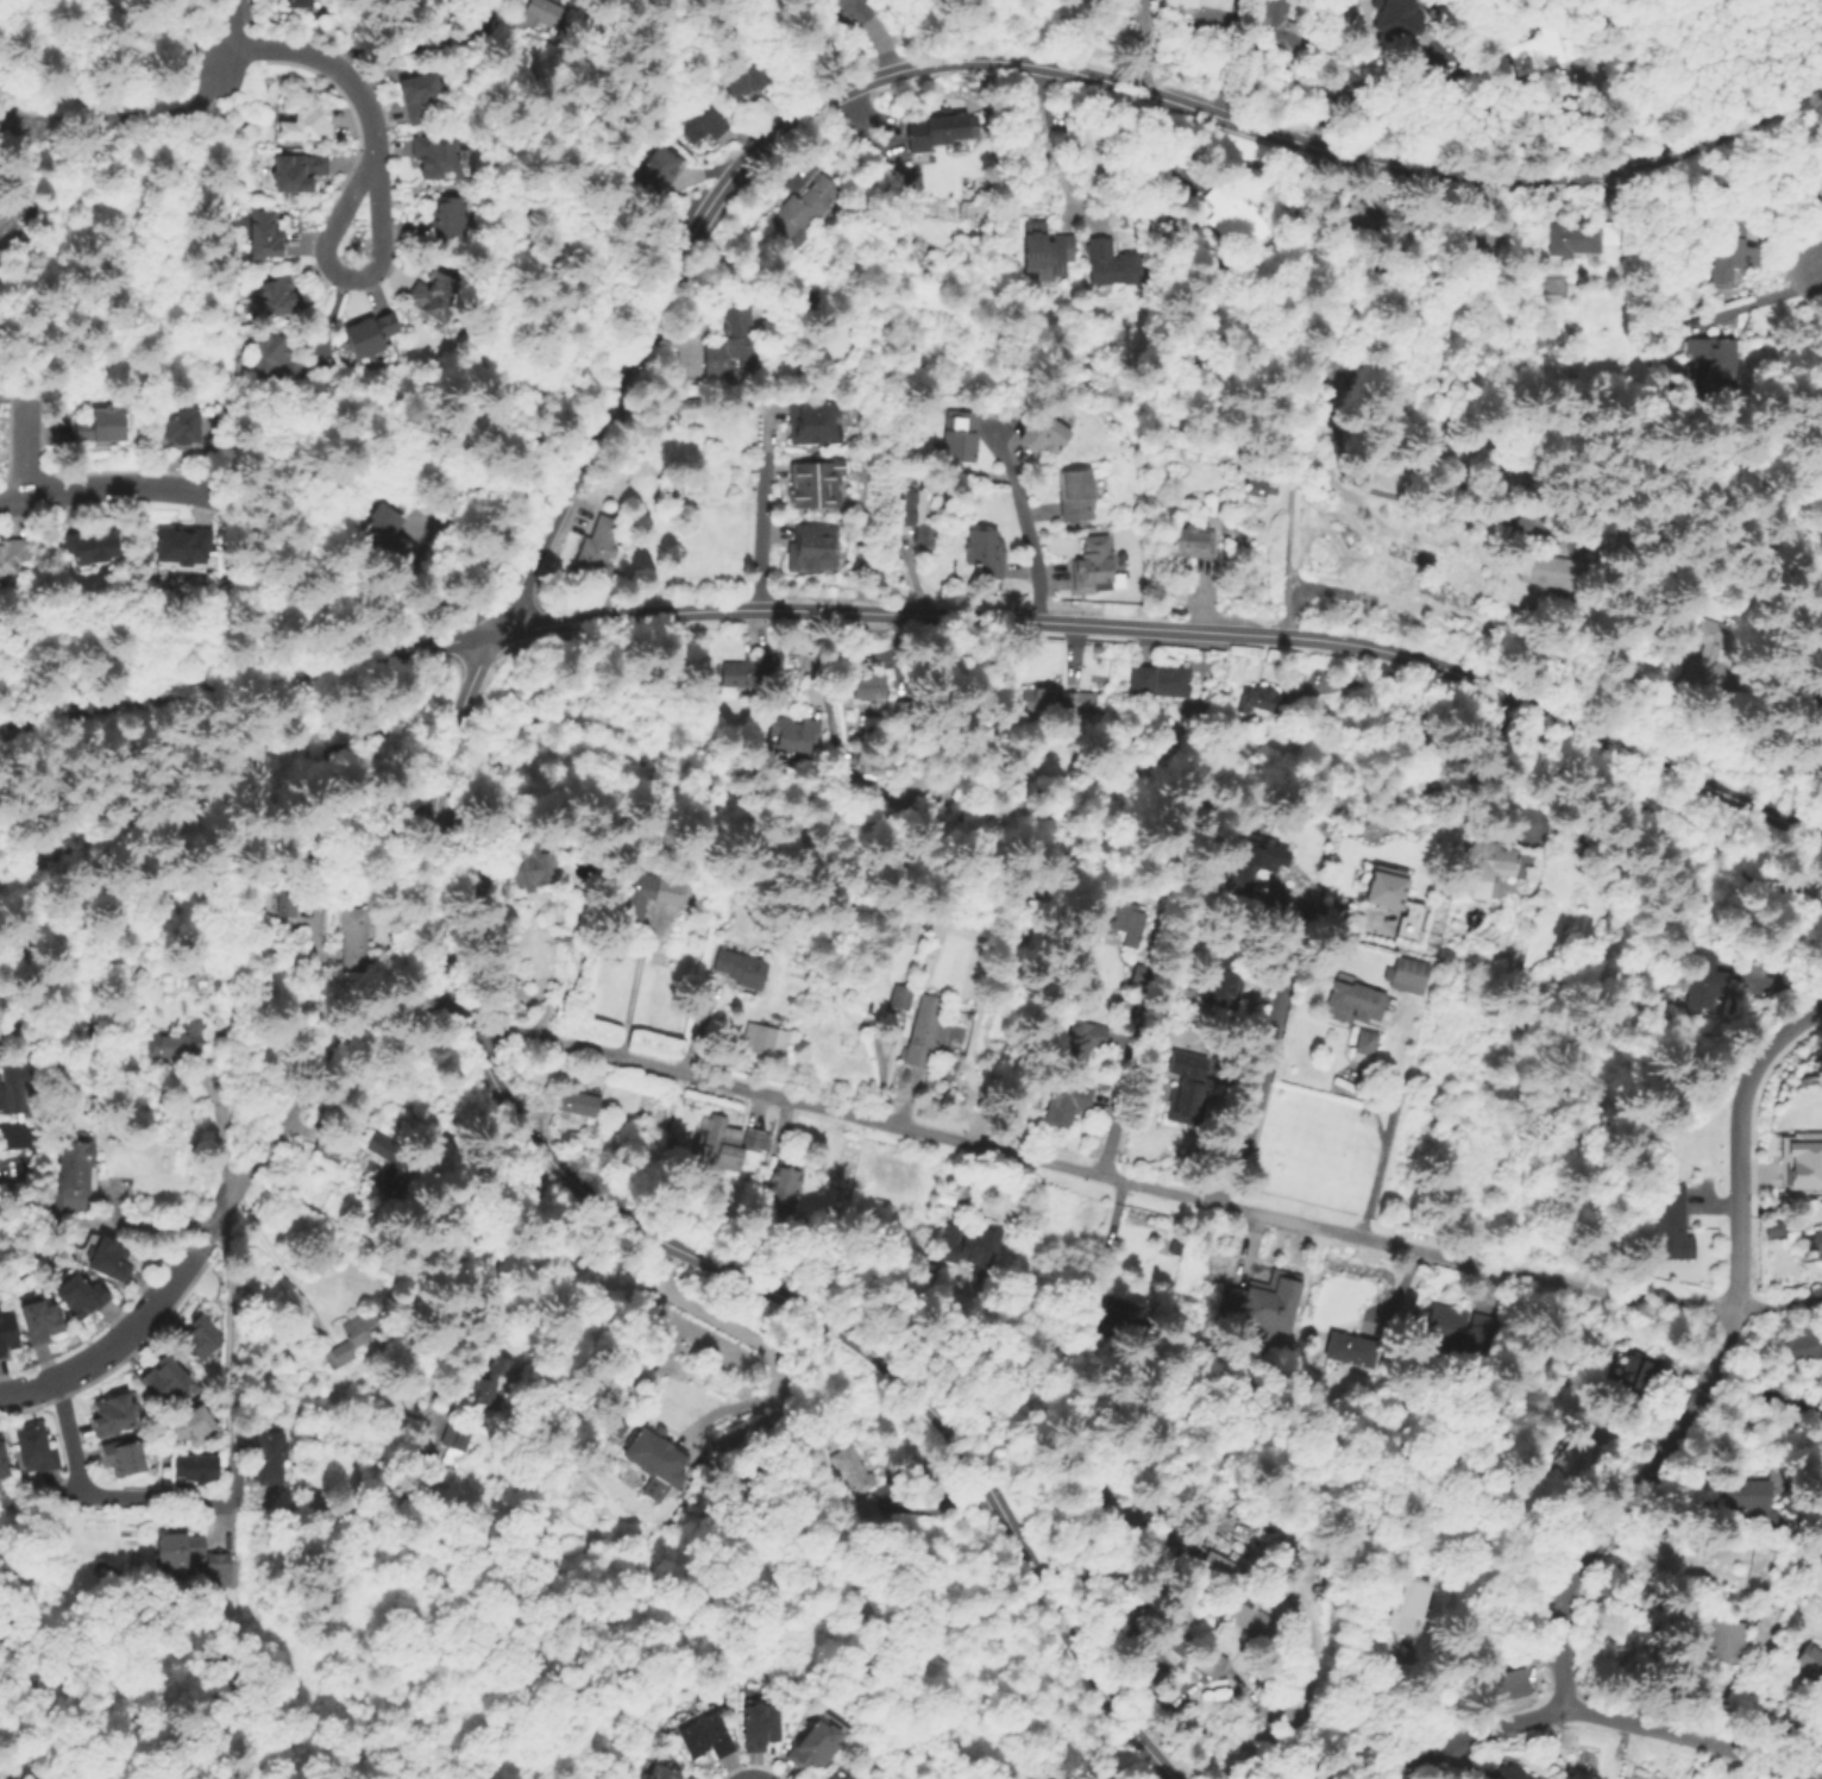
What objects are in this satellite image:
building: (303, 2)
building: (1213, 4)
building: (1173, 6)
road: (113, 8)
building: (535, 11)
building: (857, 11)
building: (1395, 18)
building: (1280, 26)
building: (1402, 39)
road: (227, 40)
road: (419, 46)
building: (1547, 50)
road: (172, 51)
road: (328, 62)
road: (1017, 62)
building: (417, 88)
building: (746, 89)
building: (302, 112)
road: (122, 115)
building: (702, 128)
building: (937, 128)
road: (1045, 144)
building: (433, 151)
building: (299, 169)
building: (1814, 176)
building: (659, 177)
road: (347, 191)
building: (804, 205)
building: (1234, 214)
building: (444, 216)
building: (1381, 216)
building: (7, 232)
building: (265, 233)
building: (1583, 238)
building: (1478, 240)
building: (1044, 252)
building: (1732, 253)
road: (375, 254)
building: (1116, 263)
building: (277, 296)
building: (440, 297)
road: (1751, 300)
building: (367, 329)
building: (1328, 337)
building: (734, 344)
building: (274, 357)
building: (1355, 369)
building: (1715, 369)
building: (811, 419)
building: (176, 421)
building: (102, 425)
building: (1044, 427)
building: (962, 432)
road: (25, 442)
building: (813, 482)
road: (114, 486)
building: (1257, 488)
building: (1078, 490)
road: (1290, 507)
building: (917, 513)
road: (762, 530)
building: (387, 534)
building: (1194, 540)
building: (94, 545)
road: (1026, 545)
building: (184, 546)
building: (984, 546)
building: (811, 547)
building: (597, 548)
building: (14, 557)
building: (1095, 562)
building: (1552, 567)
road: (1173, 628)
building: (1702, 662)
building: (741, 672)
road: (243, 678)
building: (1164, 680)
building: (868, 683)
building: (1816, 693)
building: (1050, 697)
building: (1258, 702)
building: (792, 734)
building: (878, 765)
road: (353, 851)
building: (1250, 855)
building: (1496, 860)
building: (532, 863)
building: (632, 894)
building: (1395, 894)
building: (278, 895)
building: (1127, 916)
building: (903, 920)
building: (353, 938)
building: (741, 967)
building: (1407, 970)
building: (1220, 973)
building: (833, 975)
building: (1146, 975)
building: (1703, 977)
road: (628, 993)
building: (901, 994)
building: (1355, 998)
road: (419, 1008)
building: (923, 1030)
building: (764, 1037)
building: (172, 1038)
building: (1080, 1038)
building: (1365, 1044)
road: (1268, 1055)
building: (1187, 1085)
building: (13, 1093)
building: (1067, 1100)
building: (576, 1101)
road: (1123, 1107)
road: (293, 1114)
road: (1384, 1115)
road: (218, 1130)
building: (24, 1133)
building: (752, 1138)
building: (722, 1139)
building: (379, 1143)
building: (328, 1148)
building: (398, 1162)
building: (1802, 1169)
building: (77, 1174)
building: (777, 1182)
road: (1138, 1186)
building: (948, 1197)
building: (1821, 1213)
building: (1671, 1220)
road: (101, 1225)
building: (1818, 1241)
road: (208, 1245)
building: (974, 1246)
road: (1095, 1247)
road: (690, 1252)
building: (115, 1256)
building: (928, 1262)
road: (275, 1266)
building: (89, 1294)
building: (1280, 1297)
building: (1236, 1300)
building: (48, 1316)
building: (1111, 1319)
building: (1456, 1326)
building: (12, 1331)
building: (190, 1334)
building: (352, 1334)
building: (1803, 1345)
road: (112, 1347)
building: (1349, 1351)
road: (227, 1362)
road: (1716, 1363)
building: (1635, 1370)
building: (162, 1371)
building: (485, 1379)
road: (771, 1389)
building: (119, 1412)
building: (191, 1419)
building: (453, 1439)
building: (40, 1447)
building: (1577, 1451)
building: (265, 1453)
building: (128, 1454)
building: (653, 1456)
building: (6, 1458)
building: (193, 1464)
building: (852, 1467)
building: (652, 1489)
building: (1749, 1497)
road: (96, 1498)
building: (868, 1509)
building: (1262, 1547)
building: (175, 1548)
building: (215, 1567)
building: (1758, 1567)
building: (1218, 1569)
building: (1408, 1607)
building: (1258, 1610)
building: (1174, 1628)
building: (1723, 1640)
building: (1809, 1660)
building: (1211, 1661)
building: (1512, 1684)
building: (1280, 1706)
road: (1602, 1720)
building: (753, 1723)
building: (699, 1731)
building: (808, 1742)
building: (652, 1769)
building: (1512, 1772)
building: (830, 1777)
building: (838, 1778)

